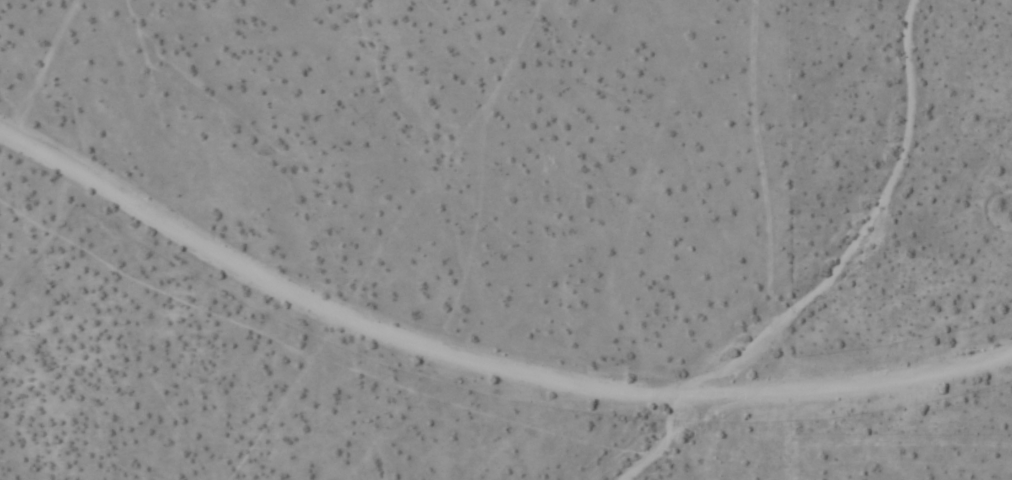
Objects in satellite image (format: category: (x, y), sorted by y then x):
road: (43, 71)
crop: (506, 240)
park: (850, 240)
road: (483, 367)

